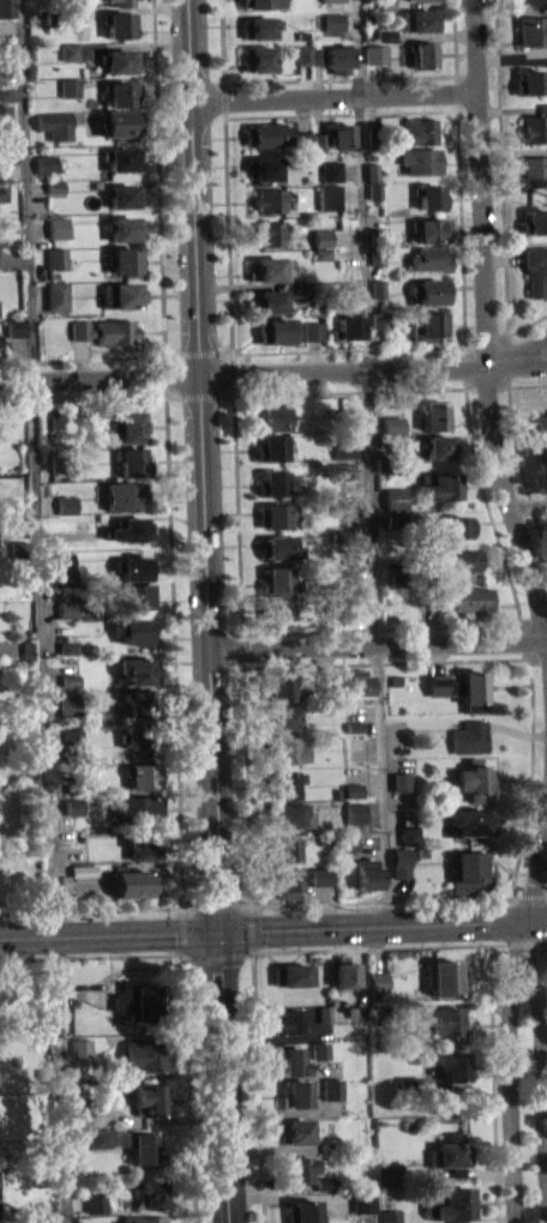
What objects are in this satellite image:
building: (329, 0)
building: (529, 0)
building: (122, 2)
building: (262, 2)
building: (384, 2)
road: (439, 2)
building: (422, 4)
road: (125, 7)
building: (7, 8)
road: (510, 10)
building: (54, 17)
building: (367, 17)
building: (420, 19)
building: (333, 20)
building: (121, 23)
building: (259, 25)
building: (333, 29)
building: (533, 29)
building: (385, 34)
road: (435, 34)
road: (455, 37)
building: (385, 42)
road: (133, 46)
road: (223, 48)
building: (70, 50)
building: (375, 53)
road: (511, 53)
building: (303, 54)
building: (317, 54)
building: (422, 54)
building: (259, 58)
building: (337, 58)
building: (68, 59)
building: (119, 59)
road: (511, 59)
road: (134, 77)
road: (374, 77)
road: (317, 78)
road: (339, 78)
road: (305, 79)
building: (529, 80)
building: (70, 86)
building: (8, 89)
building: (121, 92)
road: (457, 92)
road: (335, 94)
road: (509, 109)
road: (373, 110)
road: (302, 112)
road: (341, 113)
building: (4, 119)
building: (55, 122)
building: (120, 122)
building: (535, 125)
building: (420, 129)
building: (265, 133)
building: (339, 133)
building: (373, 137)
building: (303, 140)
building: (319, 140)
road: (512, 150)
building: (8, 151)
road: (368, 156)
building: (122, 157)
building: (420, 159)
building: (47, 163)
road: (500, 165)
building: (264, 168)
building: (331, 169)
road: (350, 169)
building: (534, 169)
building: (372, 171)
road: (158, 176)
building: (55, 185)
building: (375, 189)
building: (2, 192)
road: (350, 193)
building: (55, 194)
building: (125, 194)
building: (330, 195)
building: (429, 195)
building: (272, 199)
building: (2, 200)
building: (533, 219)
building: (59, 227)
building: (125, 227)
road: (38, 229)
building: (431, 229)
building: (266, 233)
building: (375, 235)
building: (1, 236)
building: (323, 236)
road: (347, 236)
road: (229, 246)
building: (321, 252)
building: (377, 255)
building: (56, 257)
road: (38, 258)
building: (429, 258)
road: (503, 258)
building: (125, 259)
building: (321, 261)
building: (268, 269)
building: (535, 269)
road: (245, 285)
building: (301, 288)
building: (378, 288)
building: (429, 290)
building: (56, 294)
building: (121, 294)
road: (38, 296)
building: (268, 300)
building: (343, 301)
road: (359, 301)
road: (373, 305)
building: (380, 319)
road: (365, 321)
building: (427, 324)
road: (483, 324)
road: (527, 324)
building: (349, 325)
building: (16, 326)
building: (379, 327)
building: (106, 330)
building: (276, 330)
building: (313, 330)
road: (485, 337)
building: (312, 338)
building: (0, 339)
road: (374, 342)
road: (464, 343)
building: (0, 350)
road: (516, 351)
road: (199, 355)
road: (314, 355)
road: (92, 357)
road: (82, 359)
road: (373, 368)
road: (100, 378)
road: (527, 384)
road: (166, 386)
road: (234, 393)
road: (109, 396)
road: (83, 398)
building: (433, 415)
building: (275, 416)
building: (349, 416)
road: (362, 417)
building: (393, 423)
building: (126, 424)
building: (540, 430)
building: (110, 432)
building: (392, 433)
building: (441, 445)
building: (271, 446)
building: (344, 451)
road: (518, 459)
building: (133, 460)
building: (62, 462)
building: (381, 463)
road: (203, 465)
building: (345, 469)
building: (272, 482)
building: (439, 484)
building: (125, 493)
building: (395, 498)
road: (377, 499)
road: (48, 504)
building: (67, 504)
road: (528, 504)
building: (342, 506)
road: (360, 506)
road: (487, 506)
building: (272, 514)
building: (342, 516)
building: (396, 518)
building: (452, 526)
building: (131, 529)
road: (362, 534)
road: (72, 535)
building: (342, 535)
building: (279, 547)
road: (537, 556)
building: (462, 559)
building: (133, 565)
building: (64, 567)
building: (349, 568)
road: (365, 568)
building: (399, 577)
building: (278, 579)
building: (397, 585)
building: (136, 595)
building: (432, 597)
building: (471, 601)
building: (360, 602)
building: (276, 606)
building: (68, 607)
road: (40, 611)
building: (68, 616)
road: (173, 617)
road: (393, 626)
building: (132, 629)
road: (378, 643)
building: (67, 645)
building: (68, 655)
road: (501, 657)
building: (134, 668)
building: (68, 677)
building: (354, 682)
building: (71, 687)
building: (458, 687)
building: (281, 688)
building: (452, 695)
building: (136, 699)
building: (67, 701)
building: (282, 716)
building: (353, 725)
building: (137, 733)
building: (468, 736)
building: (71, 740)
building: (355, 740)
building: (136, 745)
building: (287, 749)
building: (143, 775)
building: (398, 781)
building: (470, 781)
building: (73, 783)
building: (283, 783)
road: (246, 784)
road: (380, 784)
building: (350, 789)
building: (351, 797)
building: (73, 806)
building: (133, 807)
building: (288, 812)
building: (353, 812)
building: (73, 814)
building: (469, 820)
building: (407, 833)
building: (324, 838)
building: (345, 841)
building: (140, 845)
building: (282, 849)
building: (347, 850)
building: (401, 860)
building: (83, 868)
building: (465, 872)
building: (366, 873)
building: (320, 875)
building: (83, 878)
building: (288, 880)
building: (128, 881)
building: (319, 884)
road: (545, 894)
road: (530, 896)
road: (528, 898)
road: (372, 900)
road: (216, 904)
road: (242, 904)
road: (98, 908)
road: (182, 911)
road: (381, 927)
road: (251, 930)
traffic signals: (217, 932)
road: (184, 933)
road: (108, 934)
road: (541, 941)
road: (519, 942)
road: (375, 947)
road: (91, 954)
road: (218, 954)
road: (188, 958)
building: (291, 974)
building: (344, 974)
building: (440, 976)
building: (377, 982)
building: (137, 1000)
building: (351, 1011)
building: (324, 1012)
building: (289, 1020)
building: (445, 1022)
building: (421, 1029)
building: (80, 1046)
building: (320, 1049)
building: (148, 1054)
road: (543, 1054)
building: (82, 1055)
building: (320, 1058)
building: (289, 1059)
building: (451, 1068)
road: (223, 1077)
road: (493, 1083)
road: (257, 1084)
building: (409, 1084)
road: (190, 1085)
building: (332, 1088)
building: (296, 1094)
road: (511, 1094)
building: (150, 1100)
building: (83, 1105)
building: (295, 1131)
building: (100, 1138)
building: (144, 1147)
building: (330, 1147)
building: (452, 1153)
building: (299, 1168)
building: (393, 1173)
building: (393, 1181)
building: (324, 1182)
building: (150, 1192)
building: (361, 1200)
building: (95, 1201)
building: (450, 1203)
building: (387, 1205)
building: (301, 1211)
building: (143, 1219)
building: (43, 1221)

